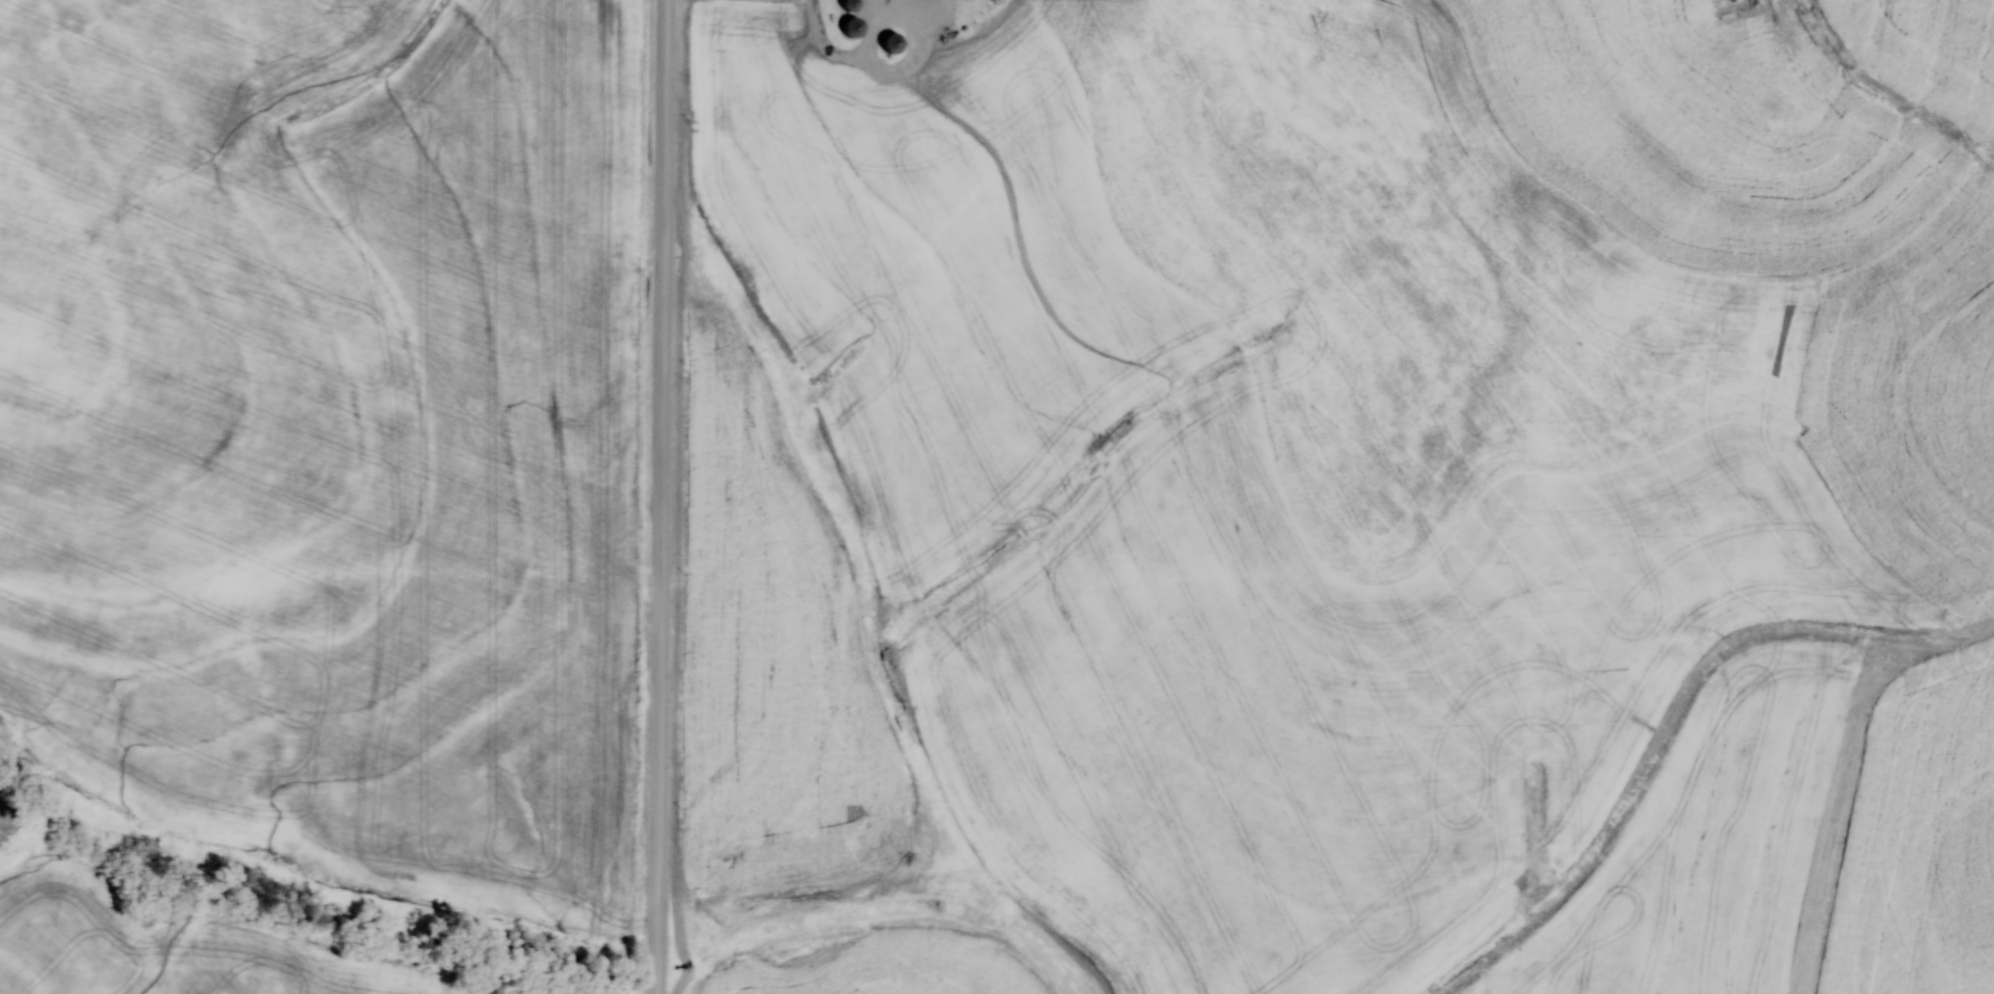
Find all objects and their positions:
building: (892, 43)
road: (662, 497)

